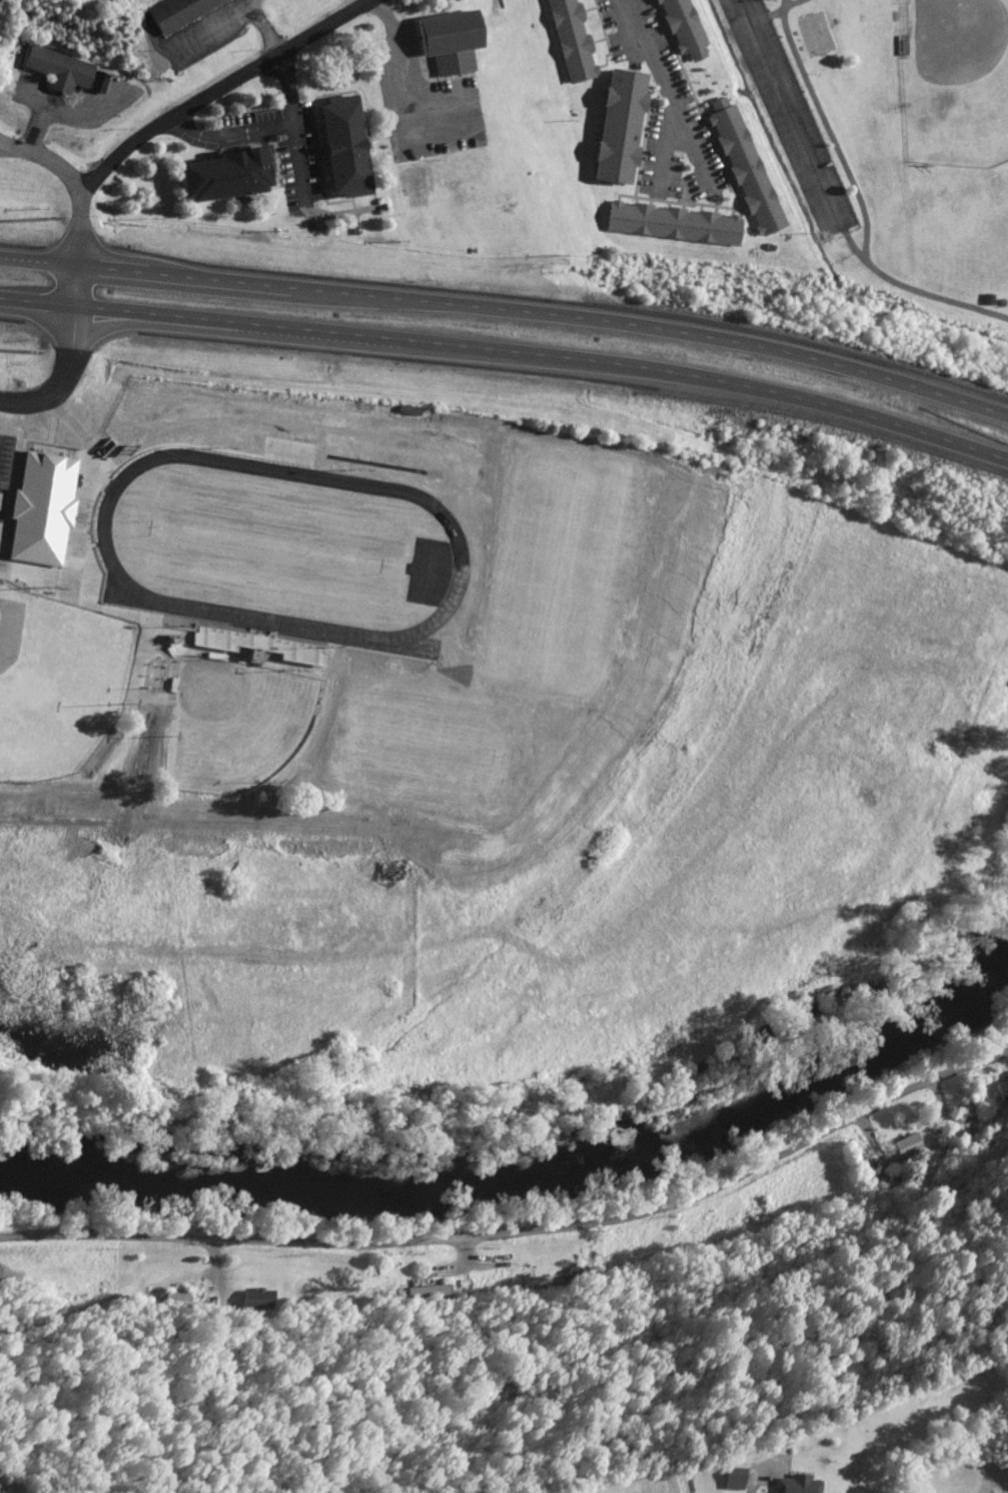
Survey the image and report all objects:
building: (204, 6)
road: (382, 10)
building: (171, 14)
building: (683, 27)
road: (268, 32)
parking lot: (207, 33)
park: (814, 34)
building: (450, 40)
building: (572, 40)
road: (659, 67)
building: (65, 73)
park: (957, 80)
road: (219, 89)
parking lot: (424, 101)
road: (398, 105)
parking lot: (668, 112)
road: (295, 115)
parking lot: (791, 115)
building: (620, 124)
park: (915, 134)
road: (233, 135)
building: (346, 146)
building: (746, 168)
building: (224, 175)
road: (72, 181)
road: (860, 199)
building: (673, 222)
road: (857, 248)
road: (509, 308)
road: (509, 352)
road: (69, 357)
building: (468, 498)
parking lot: (50, 502)
park: (7, 511)
road: (47, 524)
track: (457, 543)
park: (276, 546)
building: (70, 567)
building: (1, 576)
building: (252, 655)
park: (57, 684)
park: (236, 724)
building: (1004, 1091)
building: (913, 1149)
river: (533, 1169)
road: (522, 1233)
building: (432, 1293)
building: (179, 1300)
building: (261, 1302)
building: (733, 1480)
road: (757, 1480)
building: (797, 1485)

